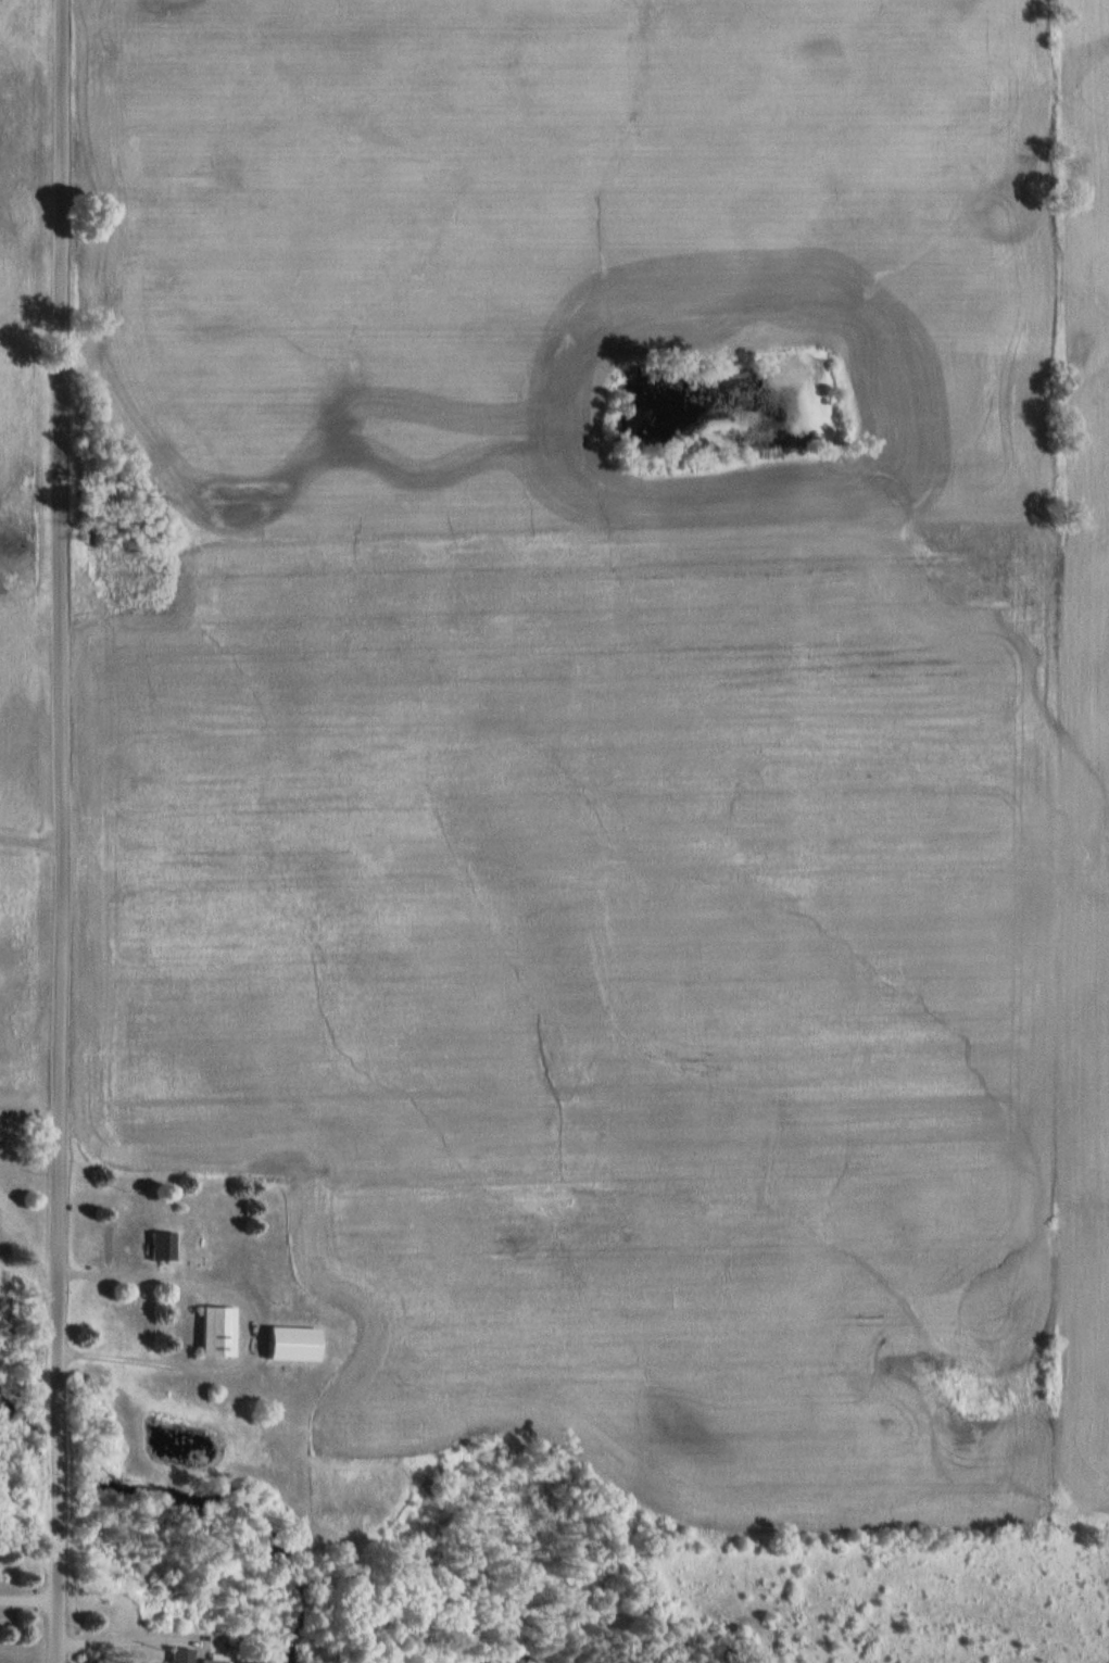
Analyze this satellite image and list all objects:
road: (60, 831)
road: (29, 839)
road: (29, 1117)
building: (156, 1246)
road: (255, 1330)
building: (213, 1332)
building: (289, 1345)
building: (173, 1655)
building: (210, 1659)

